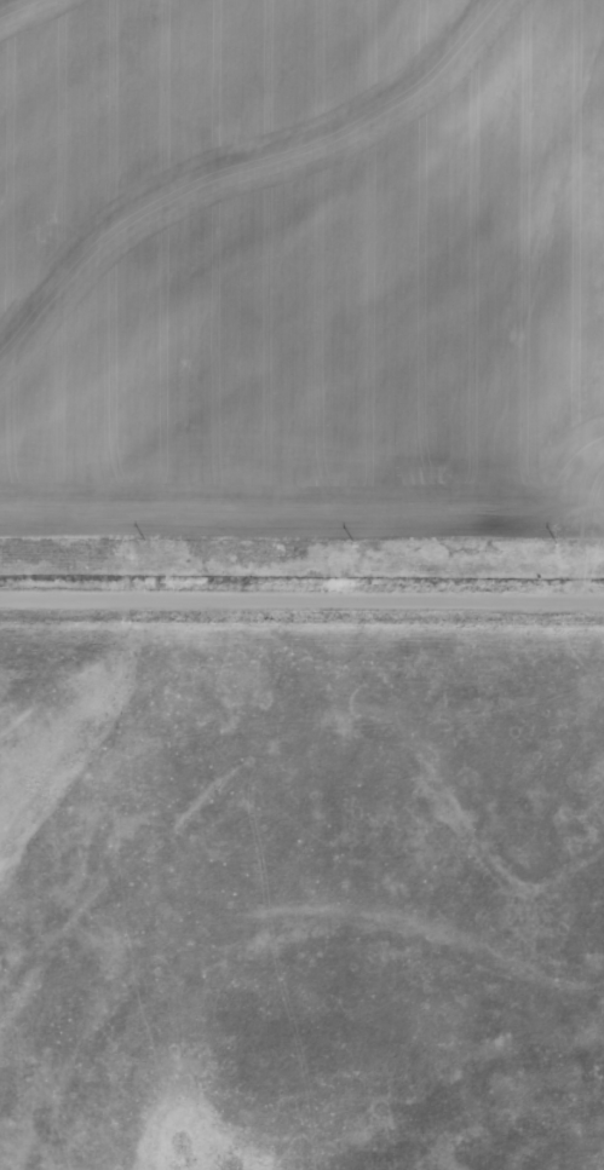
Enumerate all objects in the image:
road: (301, 599)

